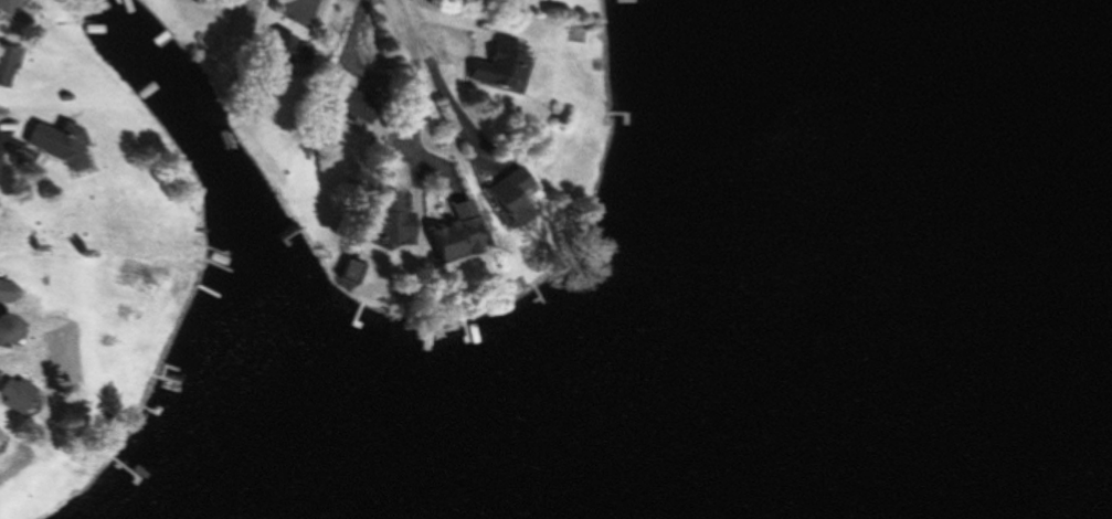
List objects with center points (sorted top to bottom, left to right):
building: (7, 6)
road: (404, 19)
building: (295, 53)
building: (7, 64)
building: (502, 65)
road: (417, 96)
building: (358, 100)
building: (59, 144)
building: (510, 195)
building: (391, 224)
building: (455, 233)
building: (351, 271)
building: (10, 329)
building: (17, 393)
building: (0, 435)

